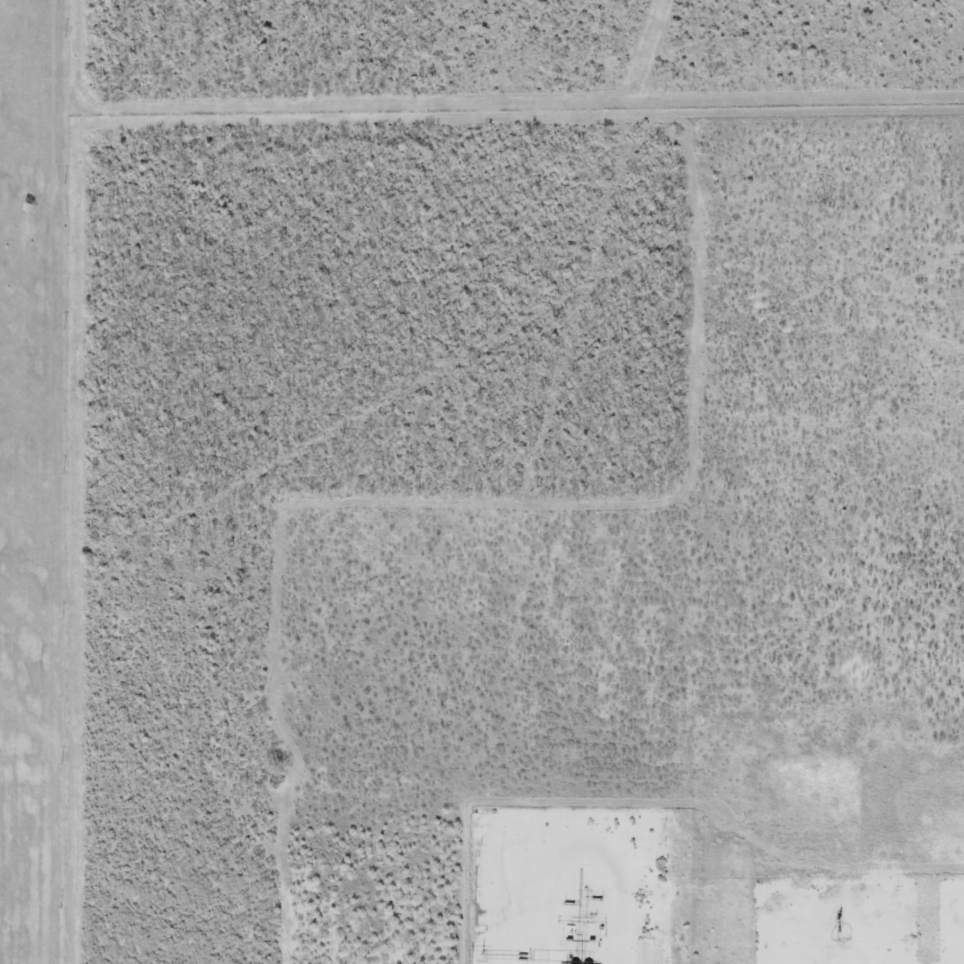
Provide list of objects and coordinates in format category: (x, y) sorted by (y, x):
road: (547, 877)

